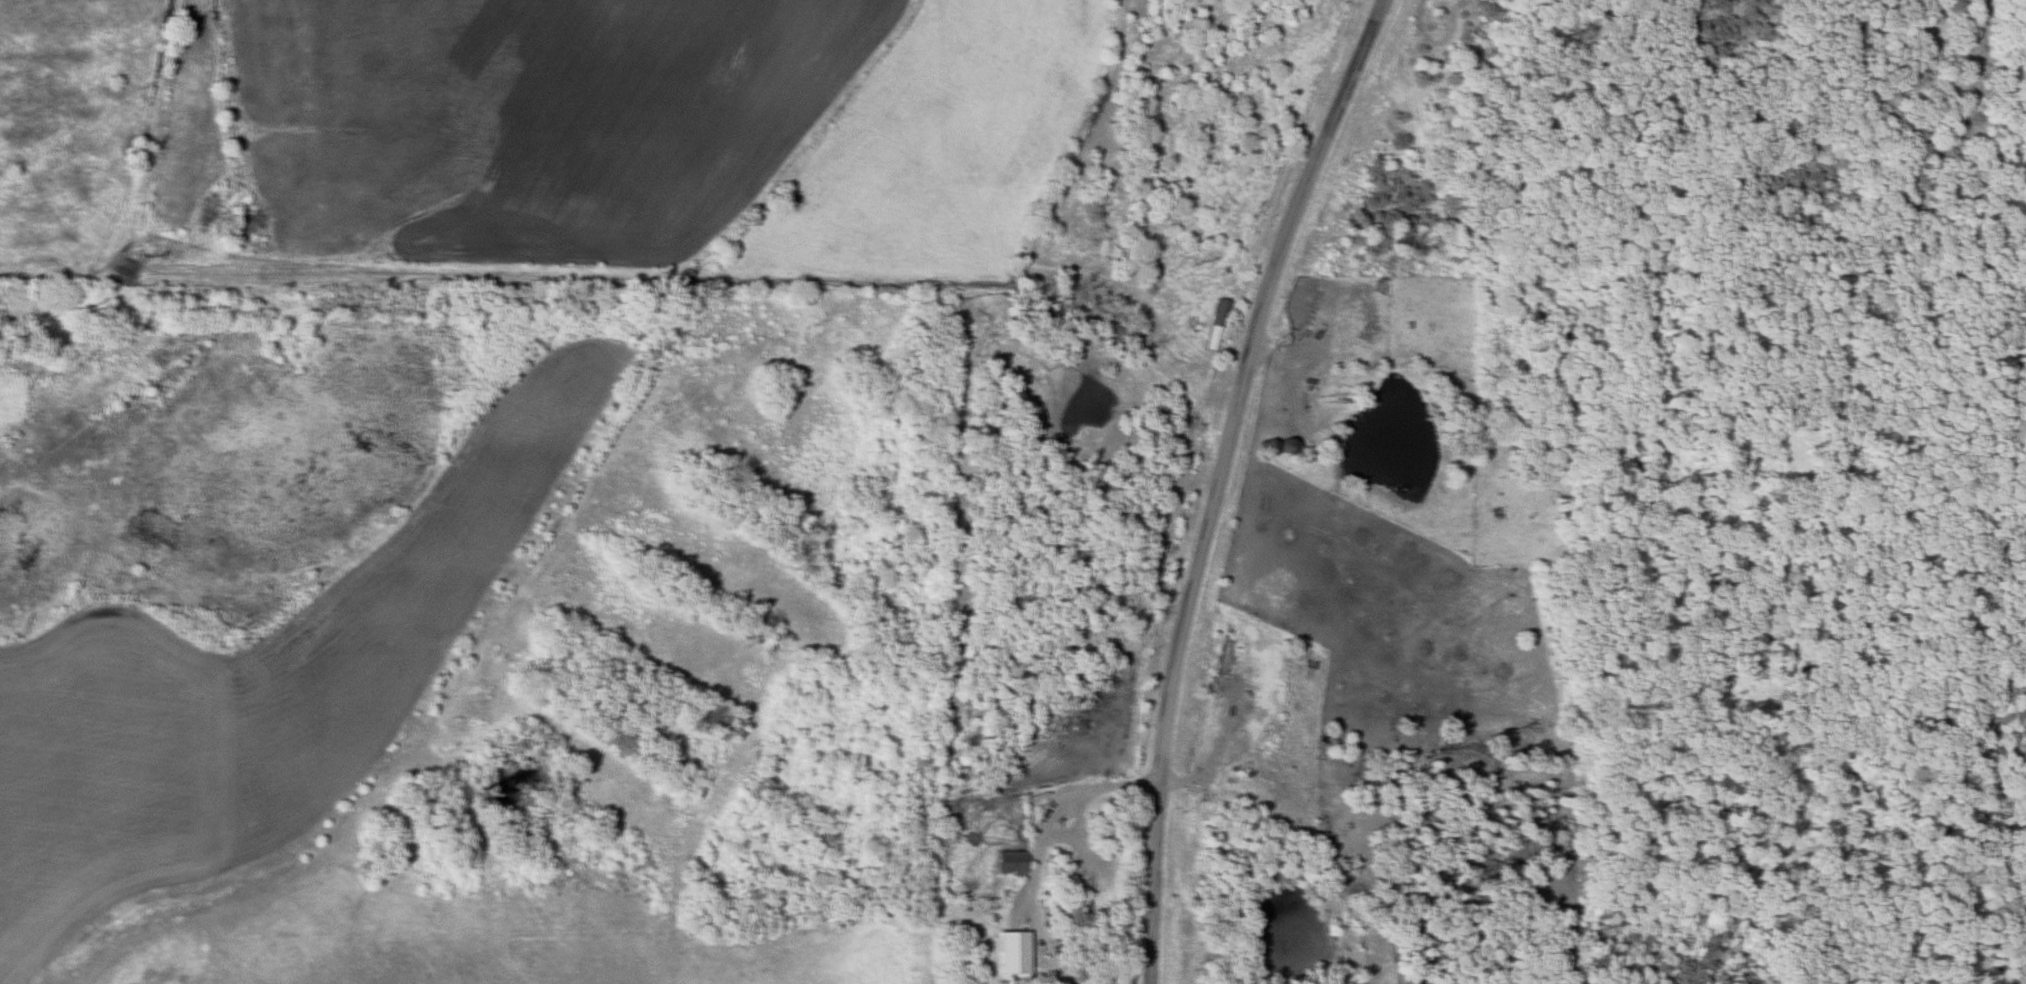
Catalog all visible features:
building: (1213, 326)
road: (1218, 479)
road: (1041, 841)
building: (1007, 863)
building: (1008, 953)

